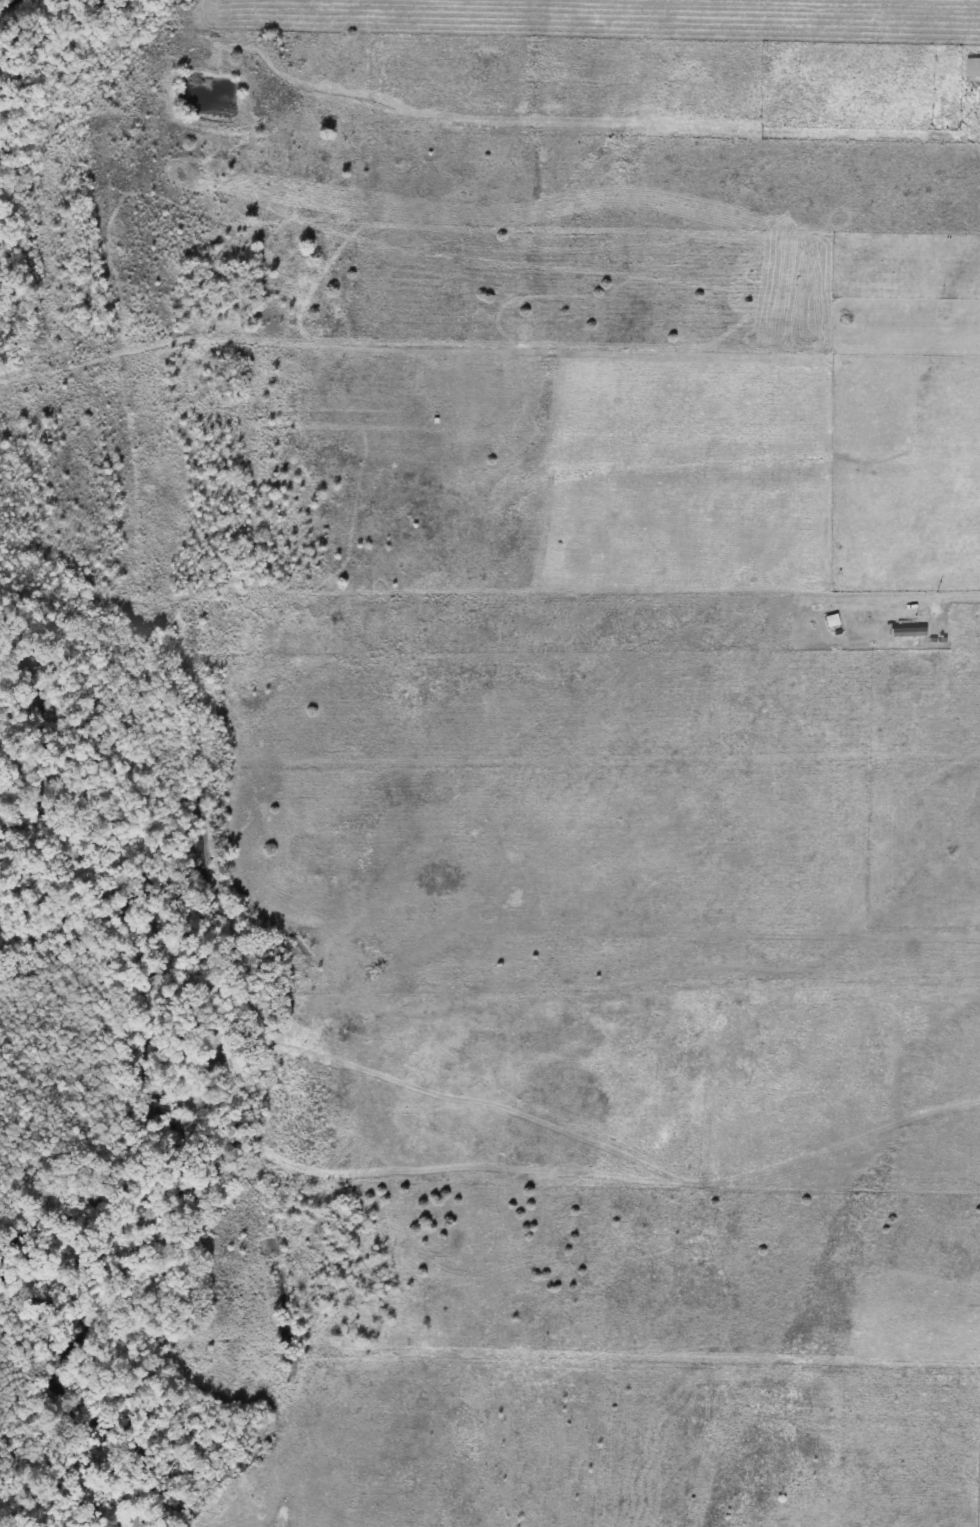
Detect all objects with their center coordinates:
road: (908, 595)

